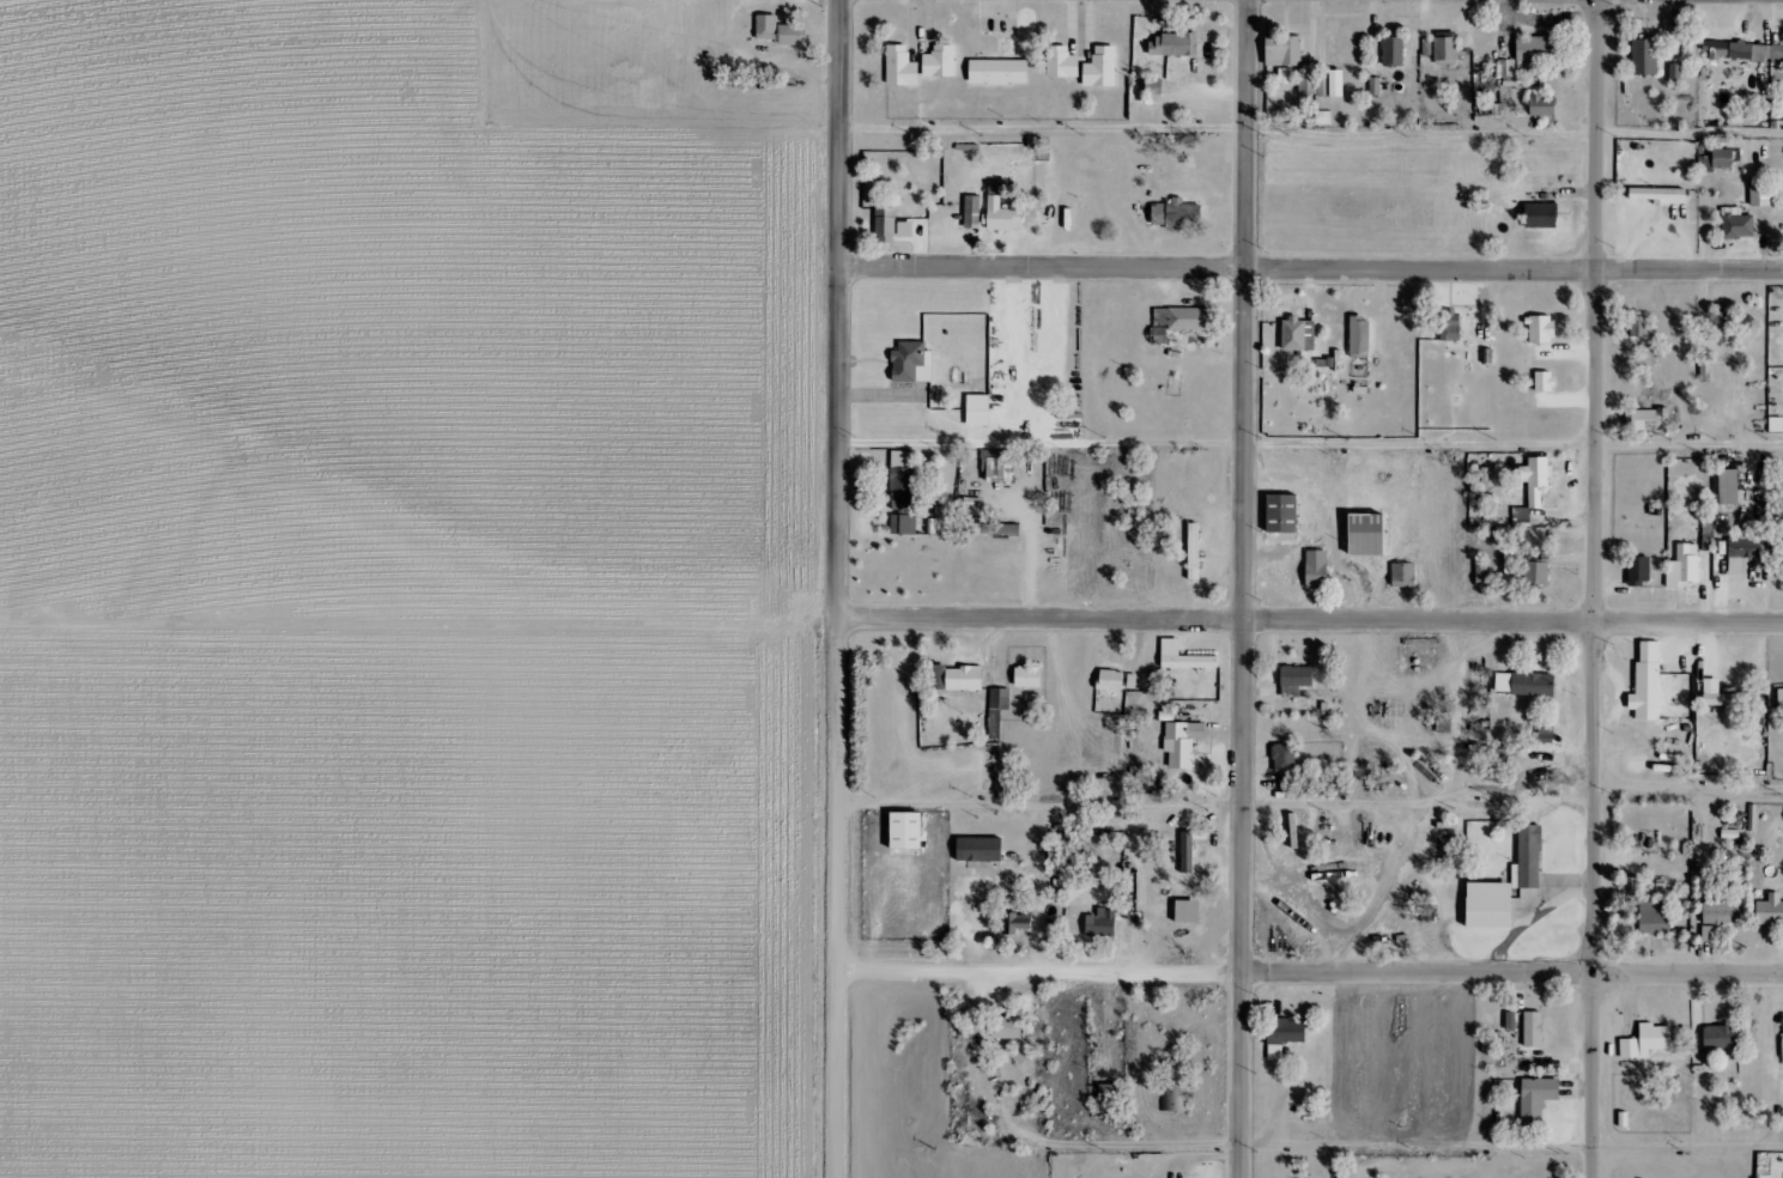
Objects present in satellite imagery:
building: (766, 28)
building: (789, 36)
building: (1172, 45)
building: (1427, 47)
building: (1447, 49)
building: (1284, 51)
building: (1394, 51)
building: (1536, 51)
building: (1747, 51)
building: (1644, 57)
building: (940, 62)
building: (1062, 62)
building: (902, 67)
building: (1102, 68)
building: (999, 72)
building: (1675, 74)
building: (1285, 75)
building: (1485, 79)
building: (1338, 84)
building: (1375, 86)
building: (1312, 87)
building: (1544, 105)
road: (1312, 135)
building: (1718, 160)
building: (1658, 194)
building: (1760, 198)
building: (972, 212)
building: (934, 215)
building: (982, 215)
building: (1541, 215)
building: (1188, 218)
building: (1011, 219)
building: (1737, 224)
building: (885, 225)
building: (896, 226)
road: (1311, 272)
building: (1190, 323)
building: (1638, 324)
building: (1451, 326)
building: (1541, 328)
building: (1726, 328)
building: (1297, 332)
building: (1360, 334)
building: (1639, 340)
building: (921, 366)
building: (1705, 368)
building: (1545, 379)
building: (988, 414)
building: (1645, 419)
road: (1310, 449)
building: (997, 468)
building: (1536, 478)
building: (1481, 485)
building: (1728, 486)
building: (903, 491)
building: (974, 505)
building: (1285, 512)
building: (1521, 516)
building: (930, 526)
building: (990, 528)
building: (1370, 533)
building: (1706, 533)
building: (1194, 551)
building: (1741, 553)
building: (1317, 566)
building: (1684, 566)
building: (1509, 567)
building: (1639, 570)
building: (1538, 571)
building: (1402, 575)
road: (837, 588)
road: (1244, 589)
road: (1594, 589)
road: (1310, 621)
building: (1184, 656)
building: (1029, 676)
building: (956, 678)
building: (1296, 678)
building: (1111, 679)
building: (1648, 681)
building: (1526, 682)
building: (1720, 694)
building: (1781, 698)
building: (997, 709)
building: (1443, 725)
building: (1546, 733)
building: (1182, 742)
building: (1492, 757)
building: (1285, 765)
building: (909, 830)
building: (1085, 844)
building: (1187, 851)
building: (1508, 882)
building: (1771, 910)
building: (1656, 916)
building: (1718, 917)
building: (1017, 922)
building: (1102, 923)
road: (1309, 973)
building: (1510, 1020)
building: (1007, 1027)
building: (1534, 1028)
building: (1285, 1036)
building: (1655, 1037)
building: (1721, 1037)
building: (1630, 1048)
building: (1173, 1085)
building: (1112, 1092)
building: (1538, 1098)
building: (1624, 1118)
road: (1511, 1152)

